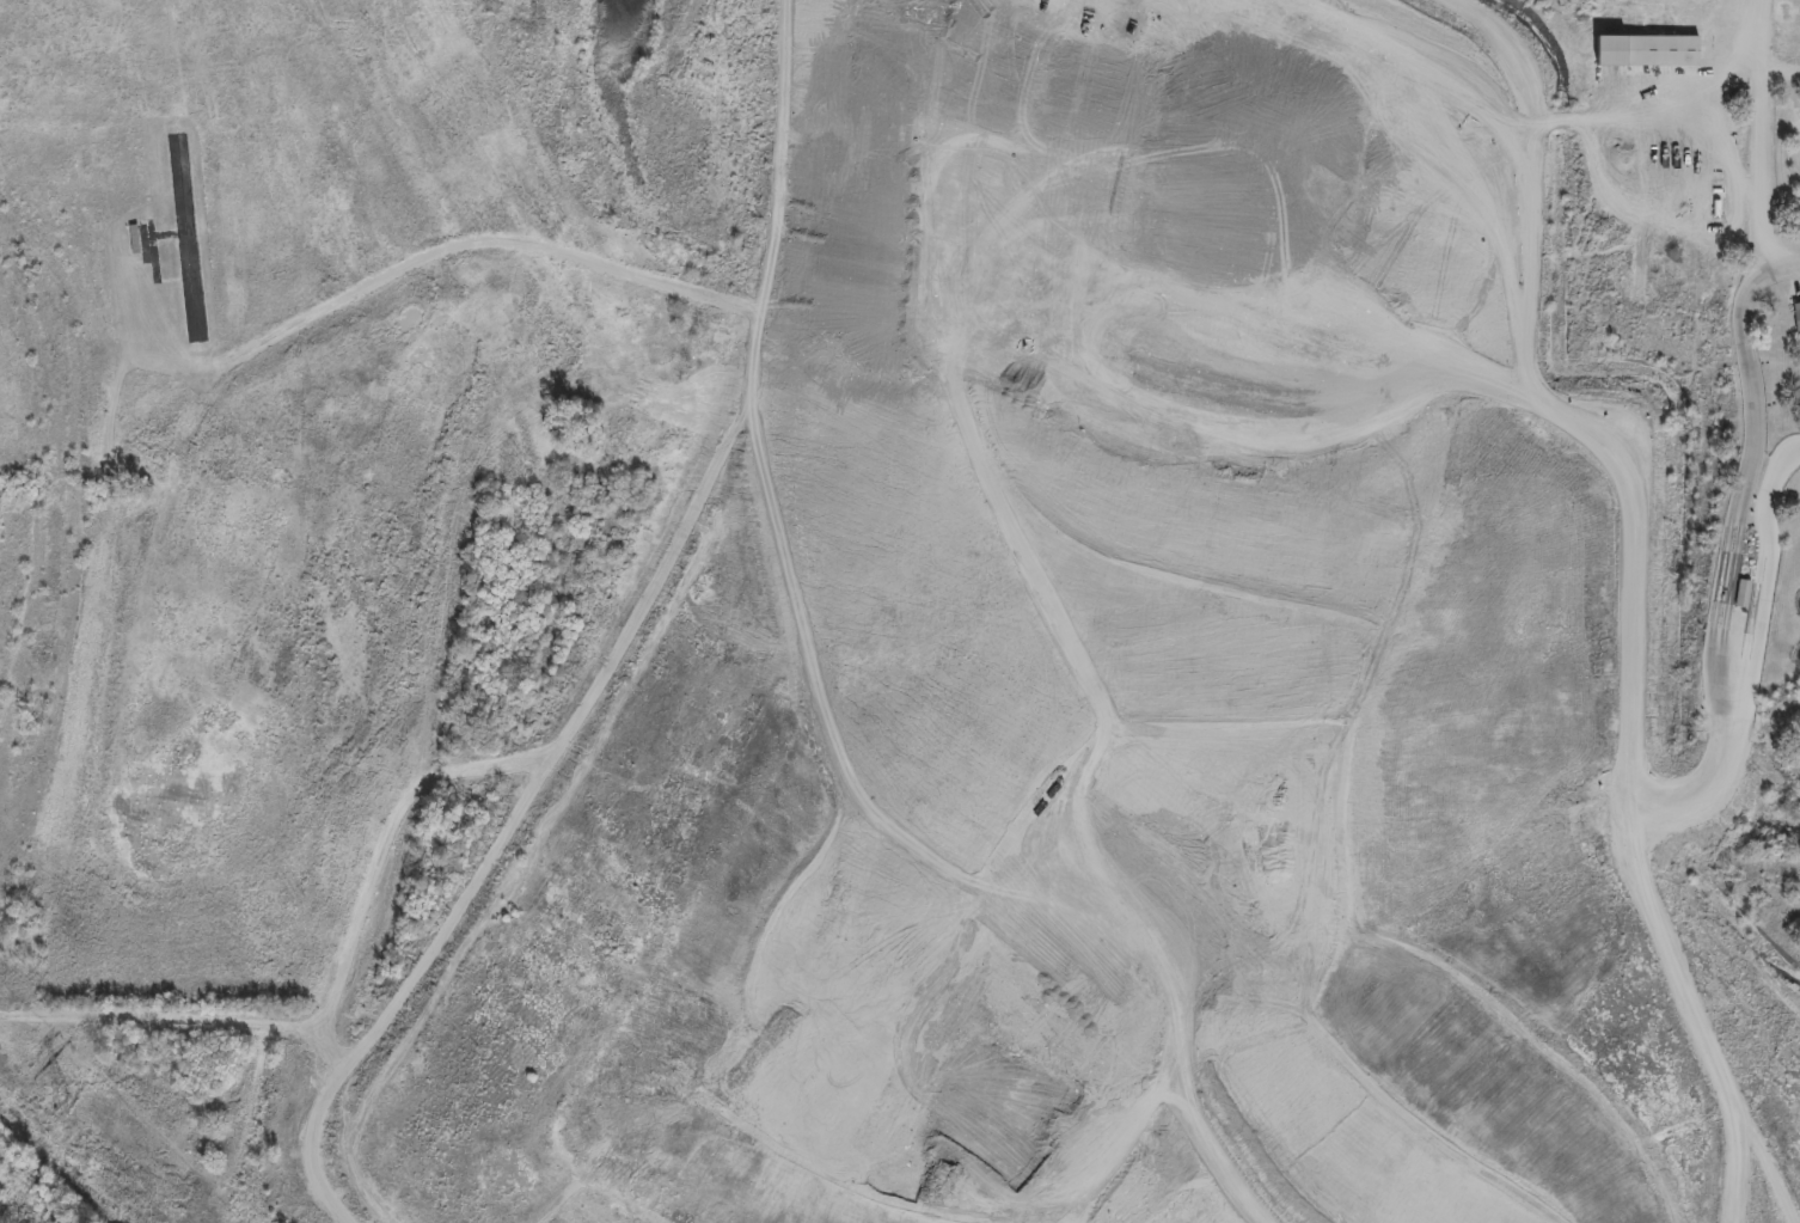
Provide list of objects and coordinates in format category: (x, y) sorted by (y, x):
building: (1645, 51)
road: (1768, 136)
building: (1795, 314)
road: (1755, 469)
road: (1780, 549)
building: (1740, 592)
power tower: (59, 1106)

